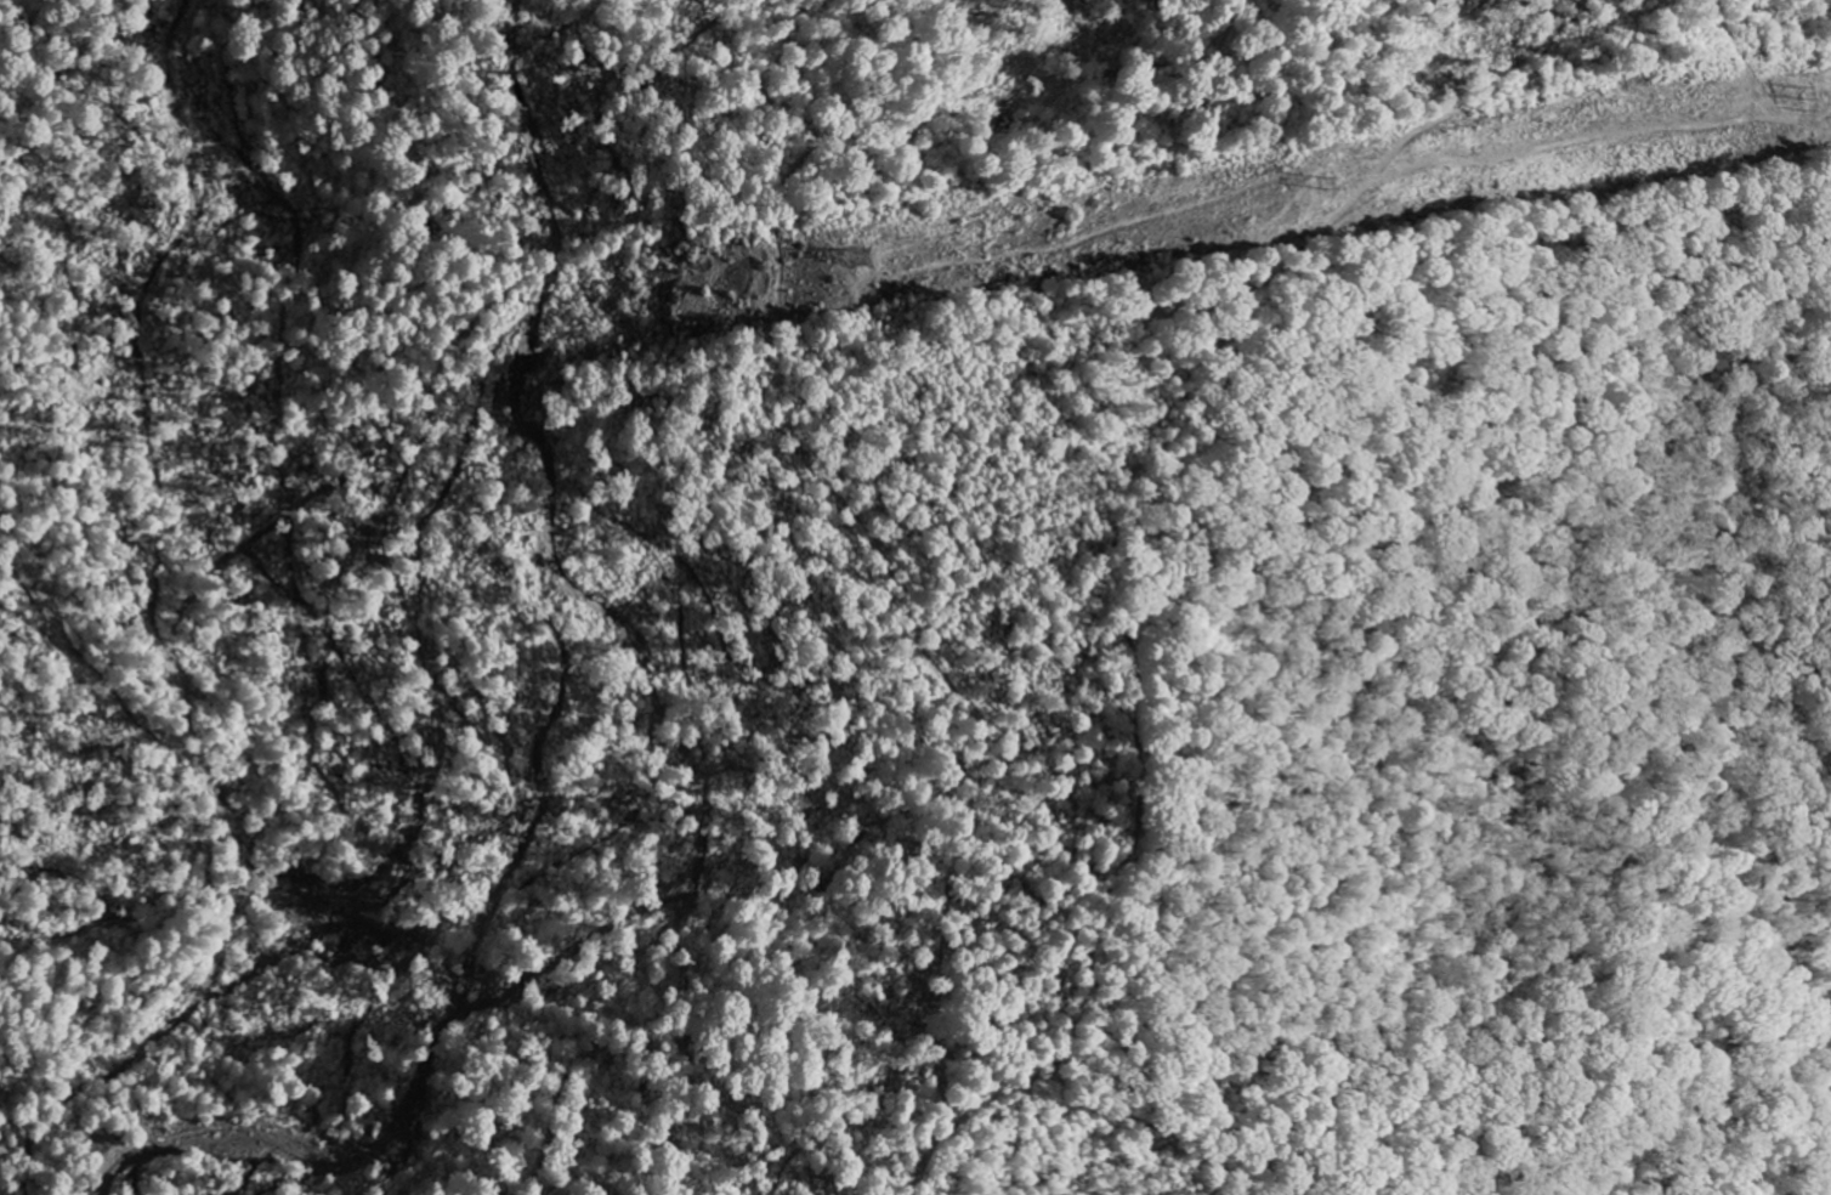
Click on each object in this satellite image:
power tower: (861, 271)

